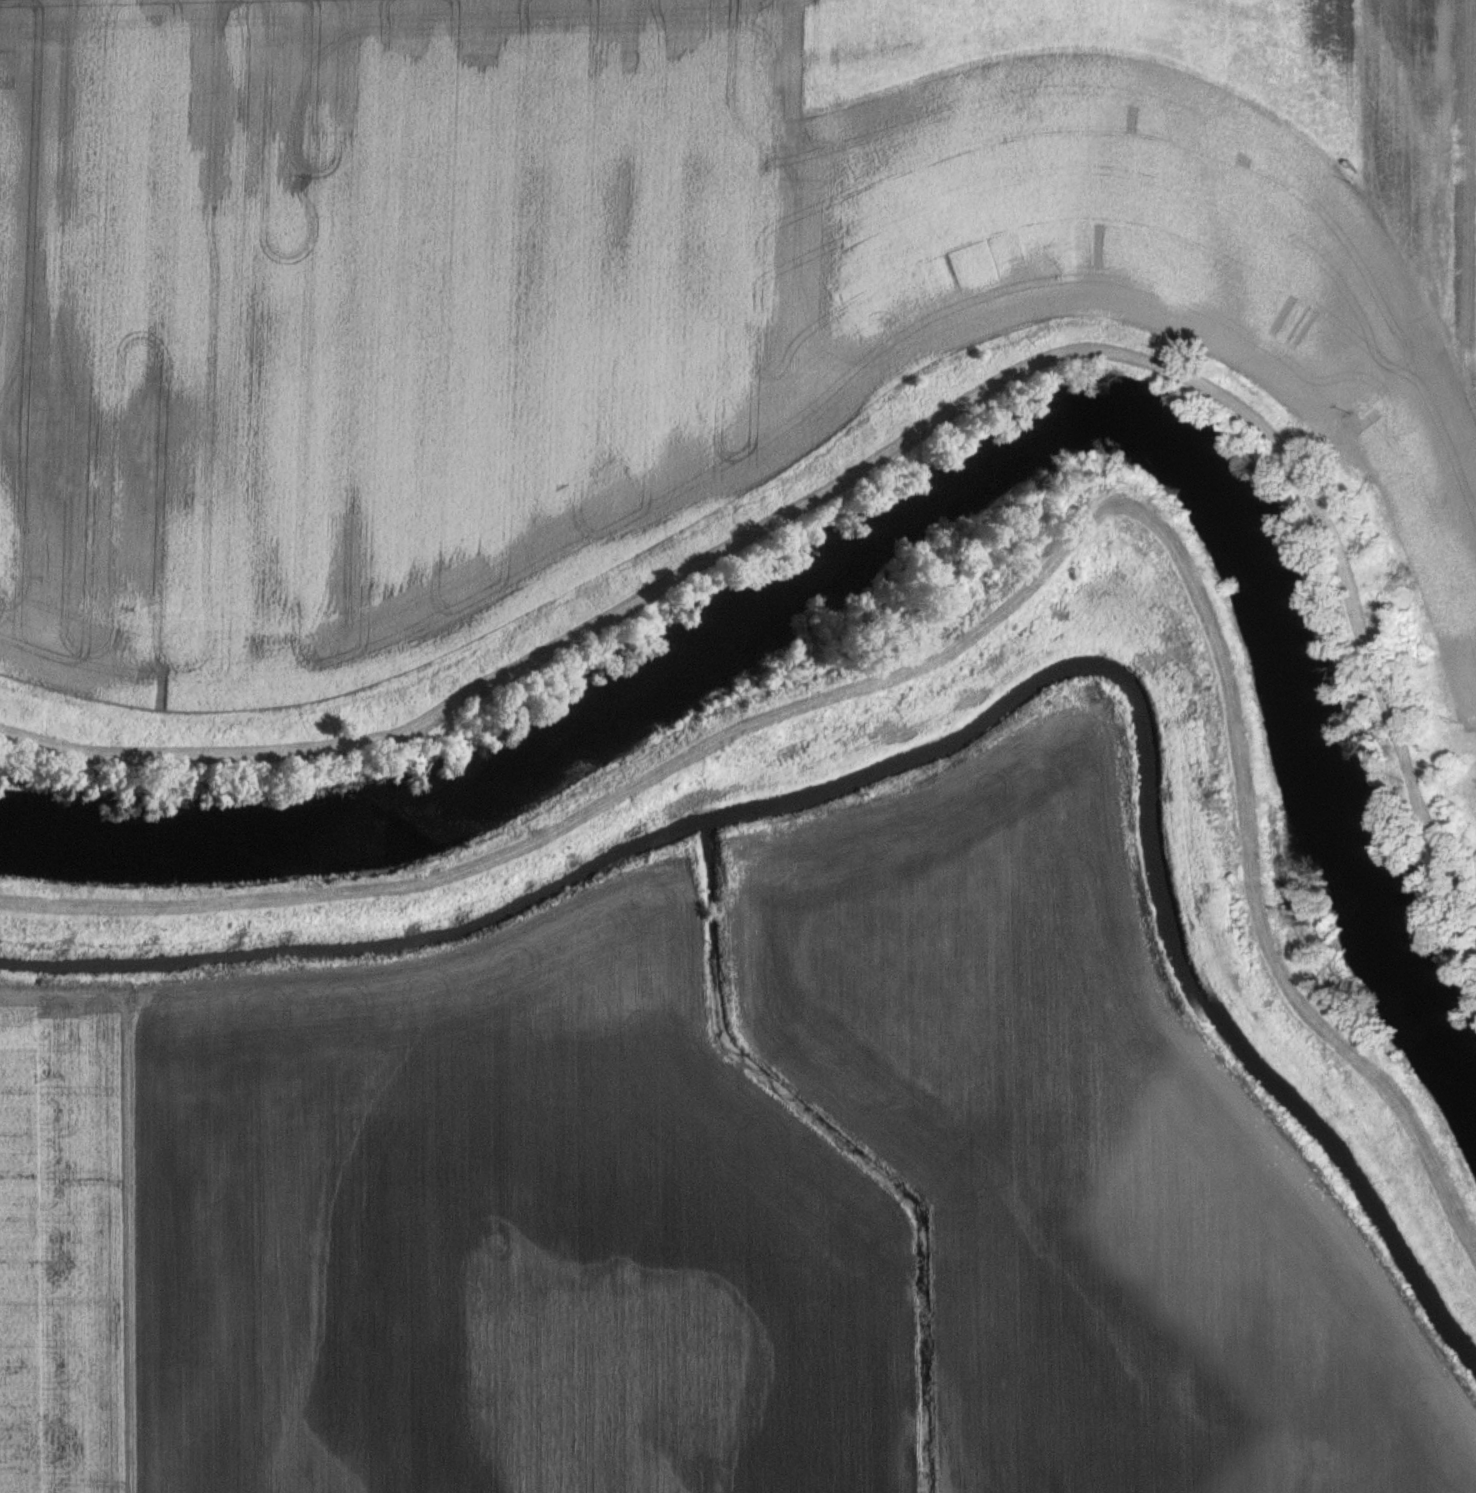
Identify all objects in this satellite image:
river: (926, 502)
crop: (705, 1202)

